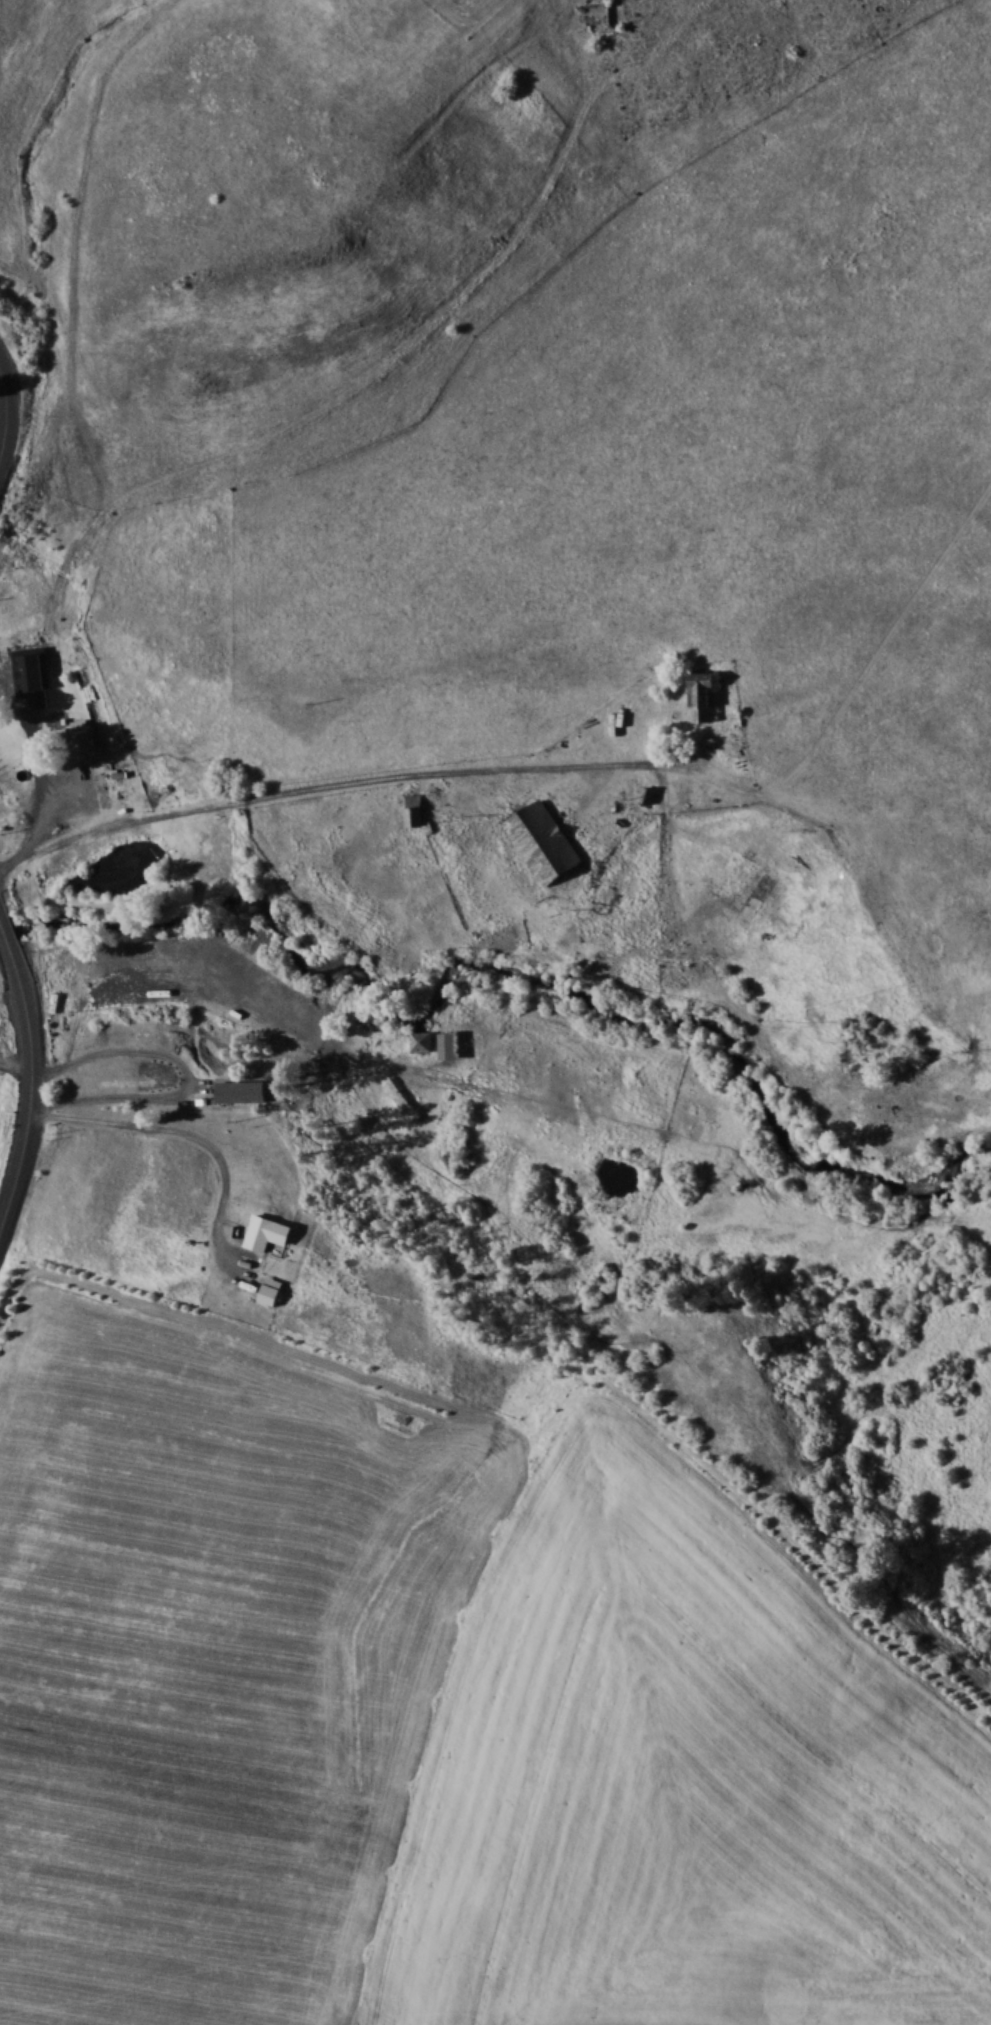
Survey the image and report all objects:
road: (8, 411)
building: (6, 689)
building: (703, 698)
building: (78, 741)
road: (346, 780)
building: (416, 814)
road: (40, 822)
building: (544, 841)
building: (757, 896)
road: (4, 930)
building: (424, 1041)
building: (450, 1044)
road: (187, 1072)
road: (33, 1087)
building: (242, 1091)
building: (402, 1099)
road: (177, 1128)
building: (268, 1232)
building: (272, 1290)

